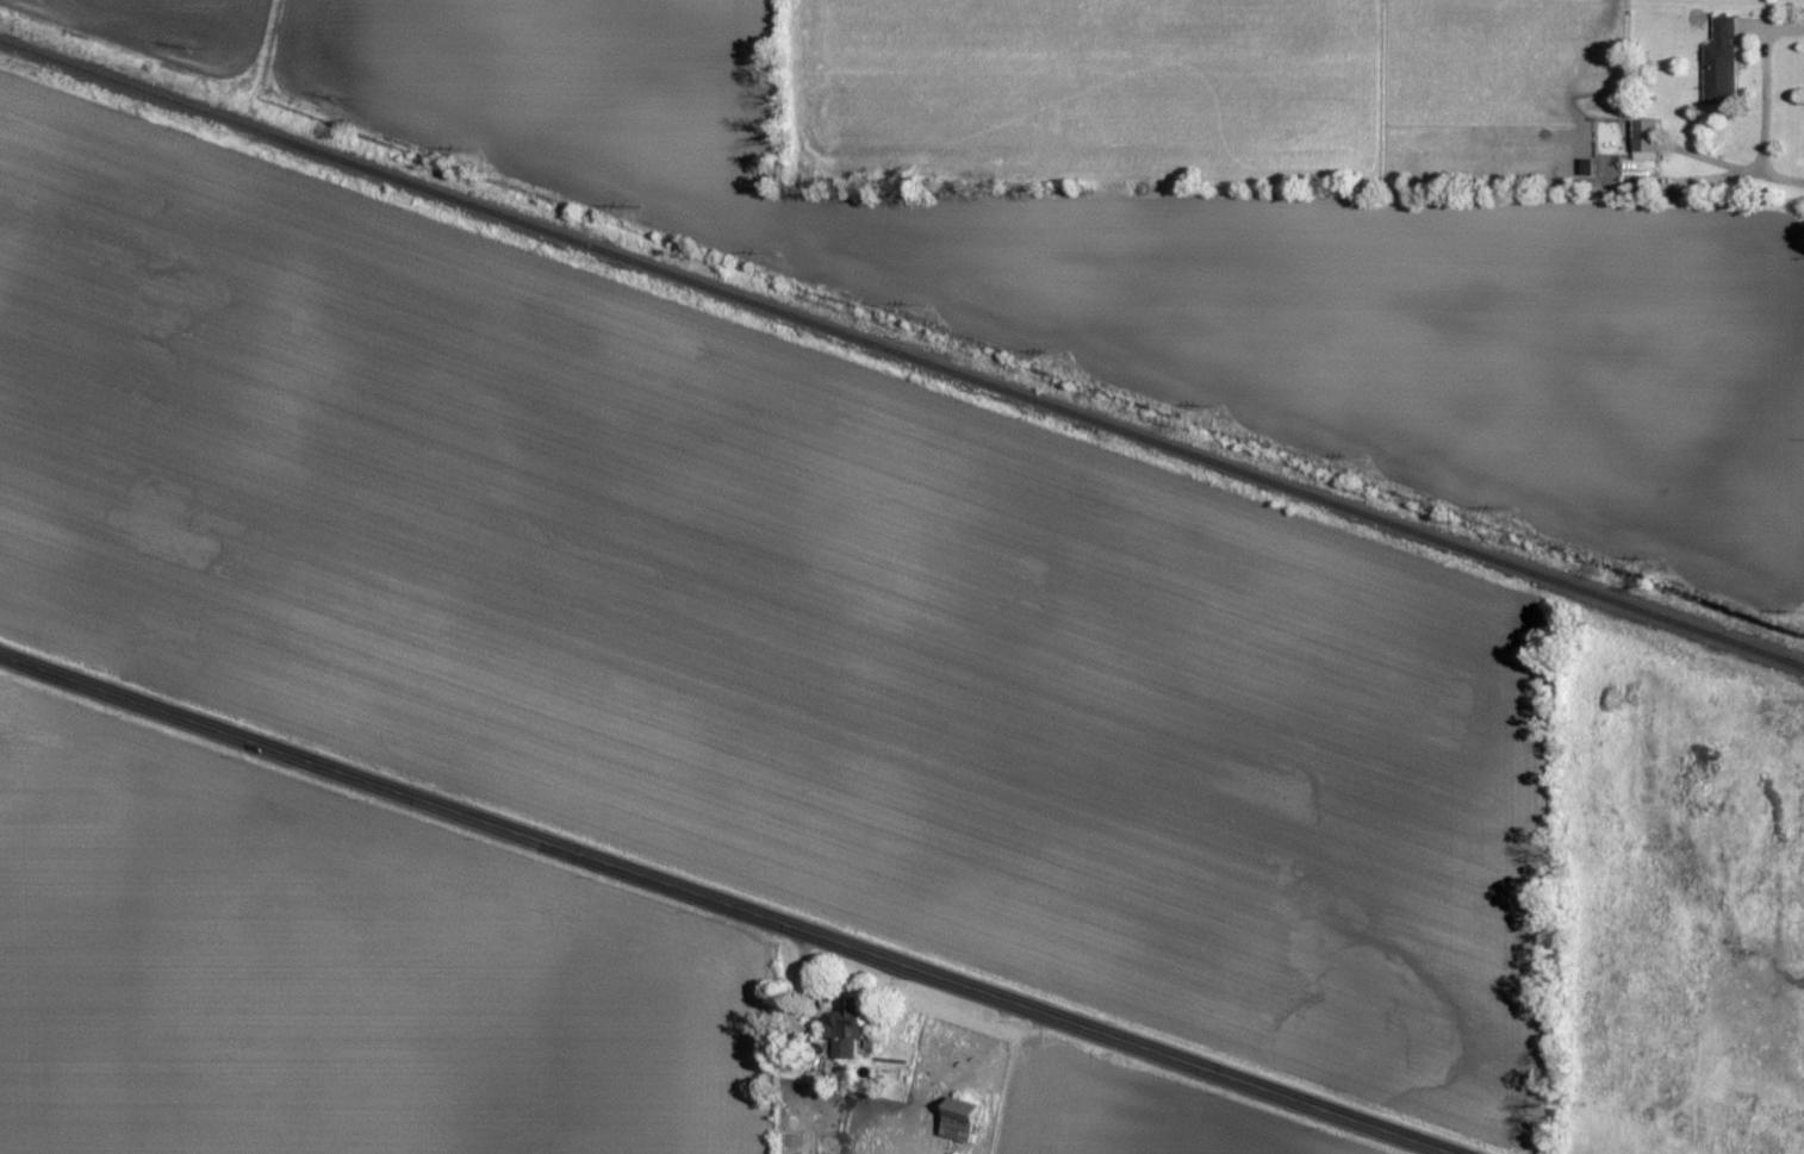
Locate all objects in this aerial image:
building: (1723, 64)
building: (1648, 138)
road: (1744, 167)
railway: (902, 350)
road: (732, 902)
building: (851, 1031)
building: (963, 1119)

